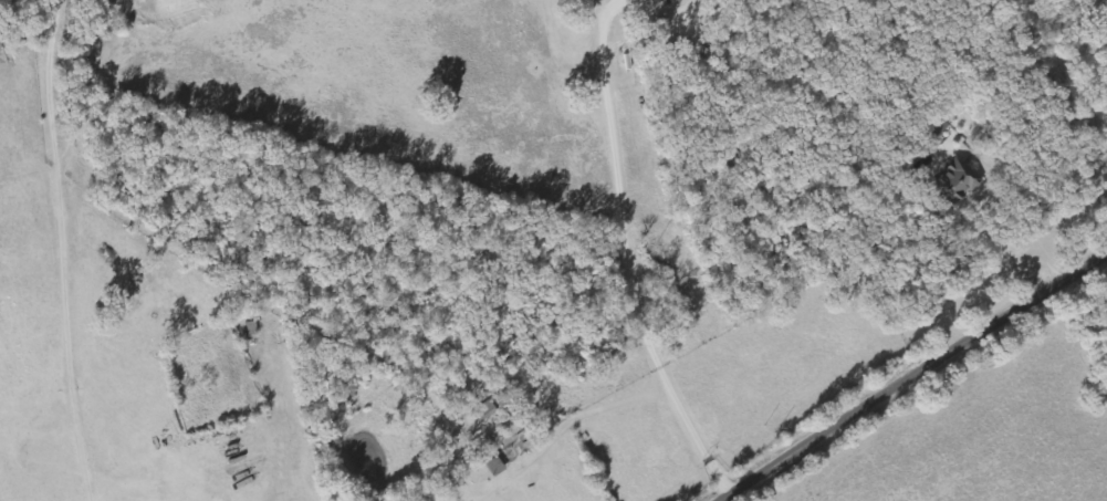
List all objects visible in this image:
building: (942, 132)
building: (959, 184)
road: (798, 201)
road: (917, 378)
building: (488, 411)

